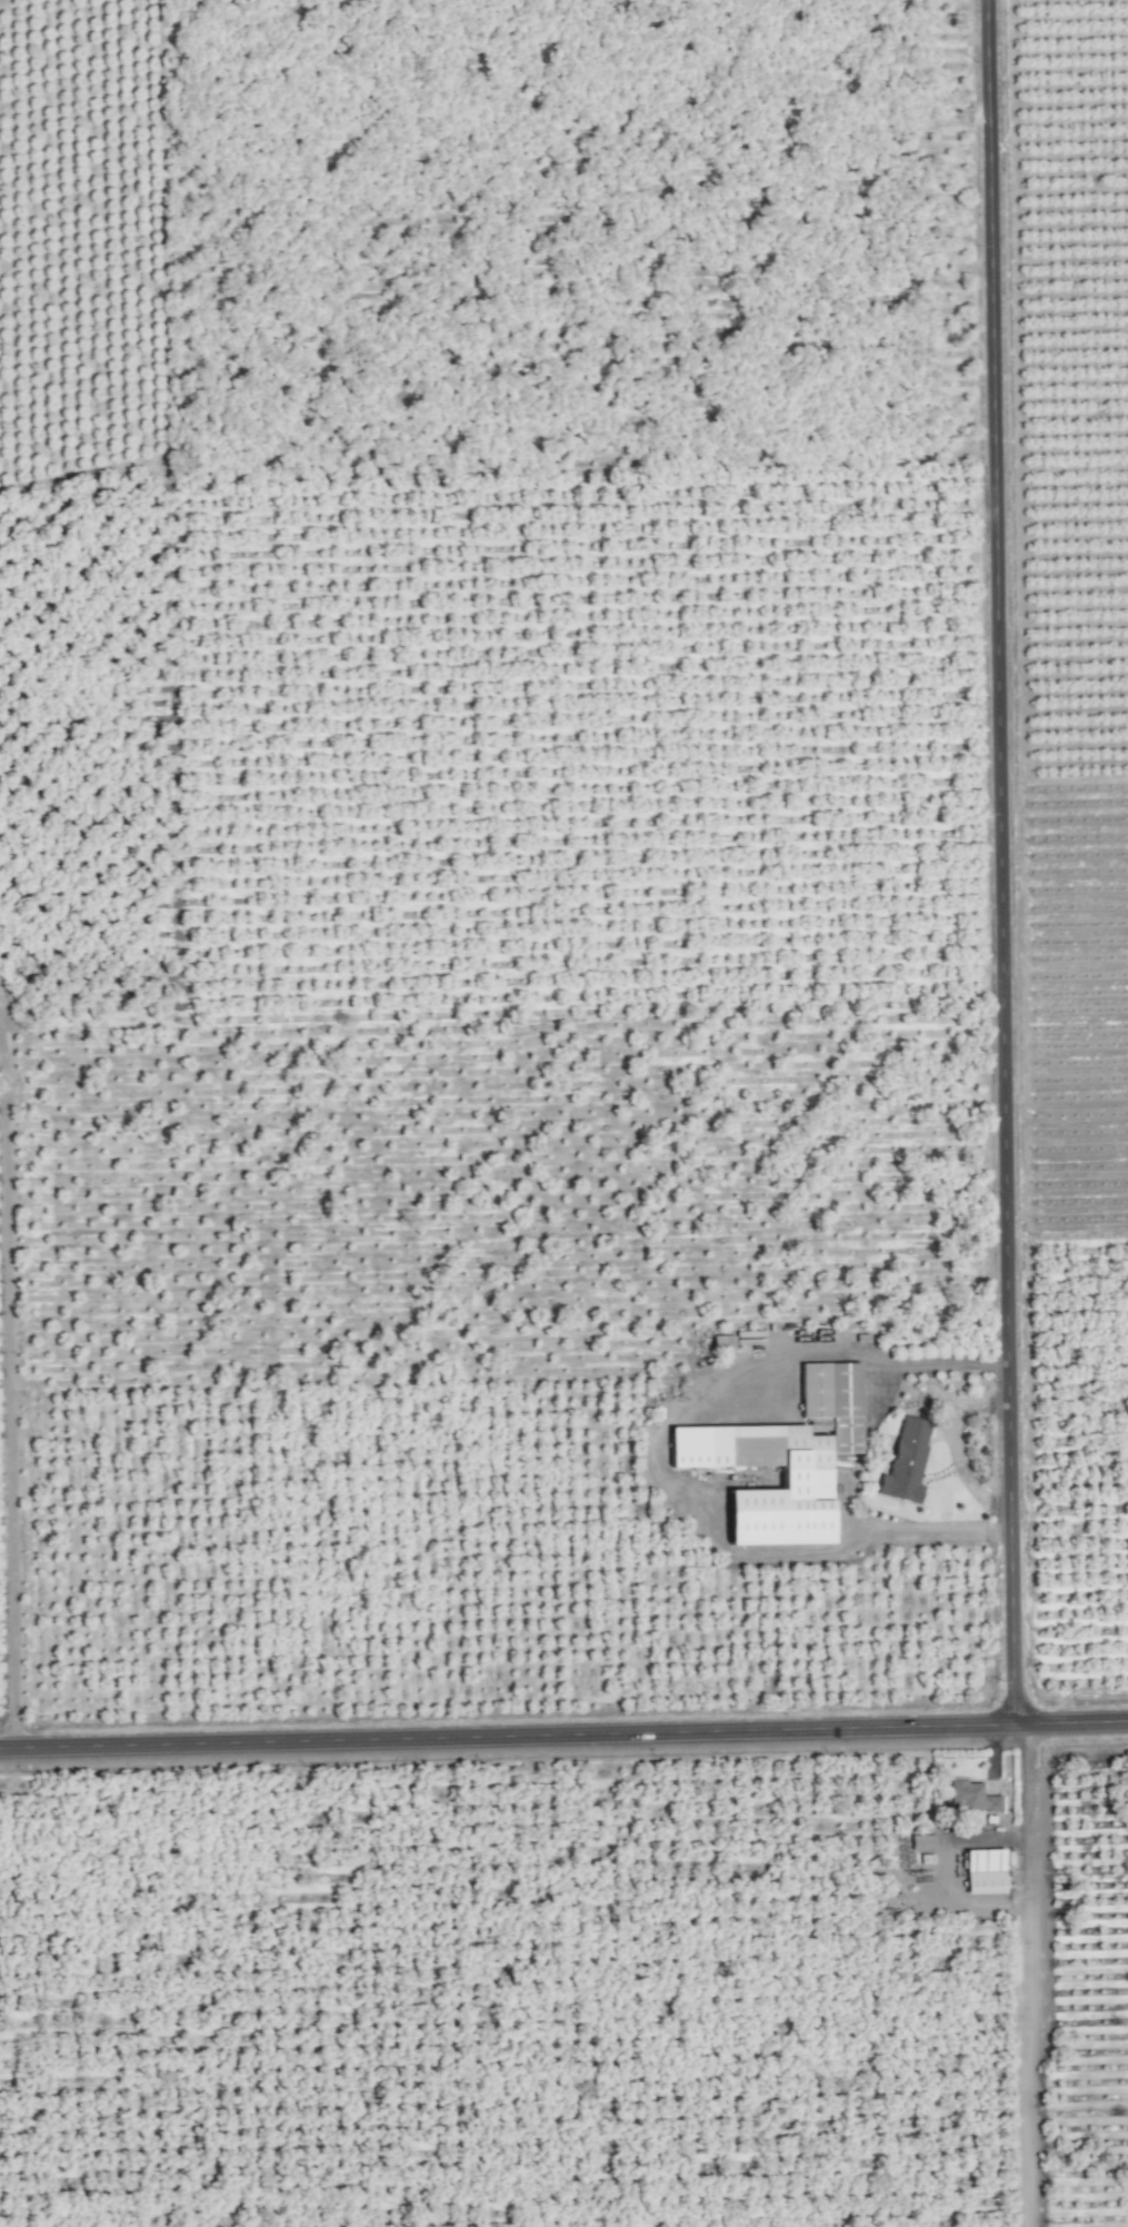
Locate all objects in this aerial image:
road: (1000, 863)
building: (722, 1342)
building: (833, 1400)
road: (9, 1405)
road: (659, 1458)
building: (906, 1460)
building: (806, 1477)
road: (563, 1736)
building: (971, 1796)
building: (922, 1841)
building: (985, 1870)
road: (1027, 1976)

